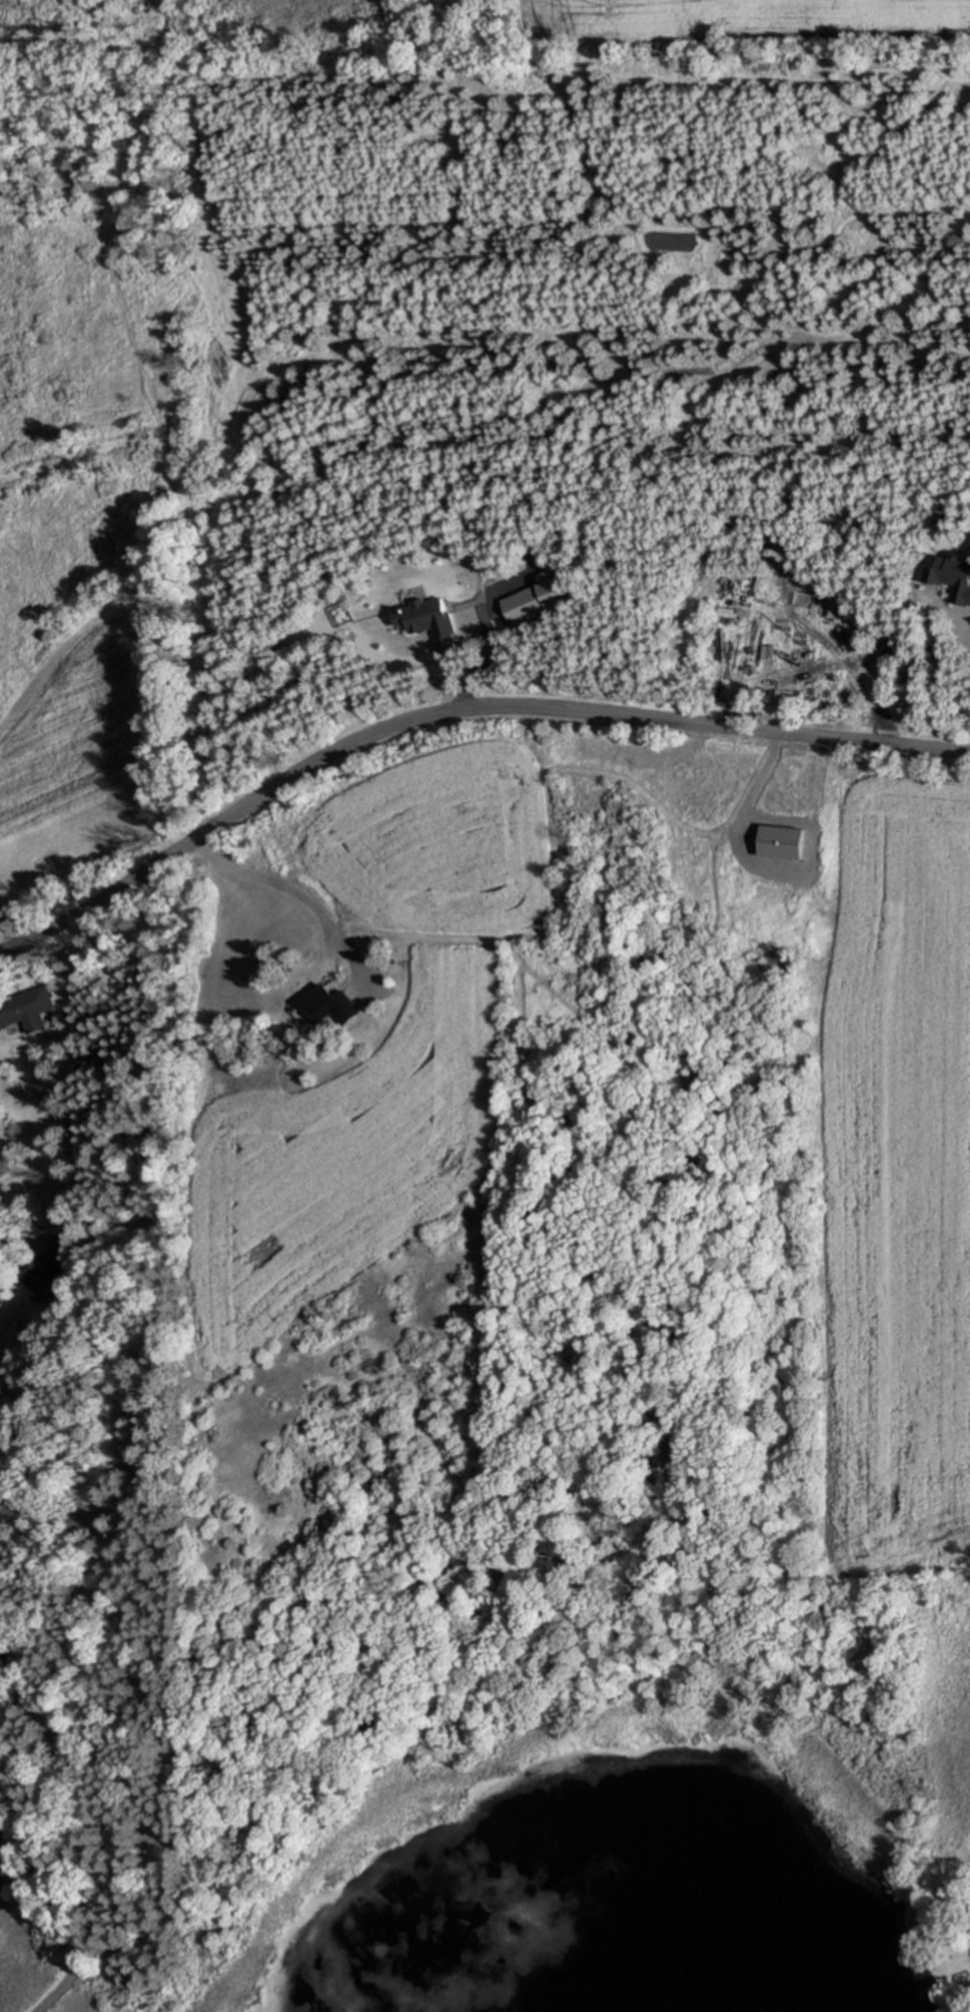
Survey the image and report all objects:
road: (968, 627)
road: (453, 715)
road: (291, 888)
building: (320, 1004)
building: (26, 1009)
road: (18, 1237)
building: (55, 1267)
building: (6, 1653)
road: (59, 1889)

